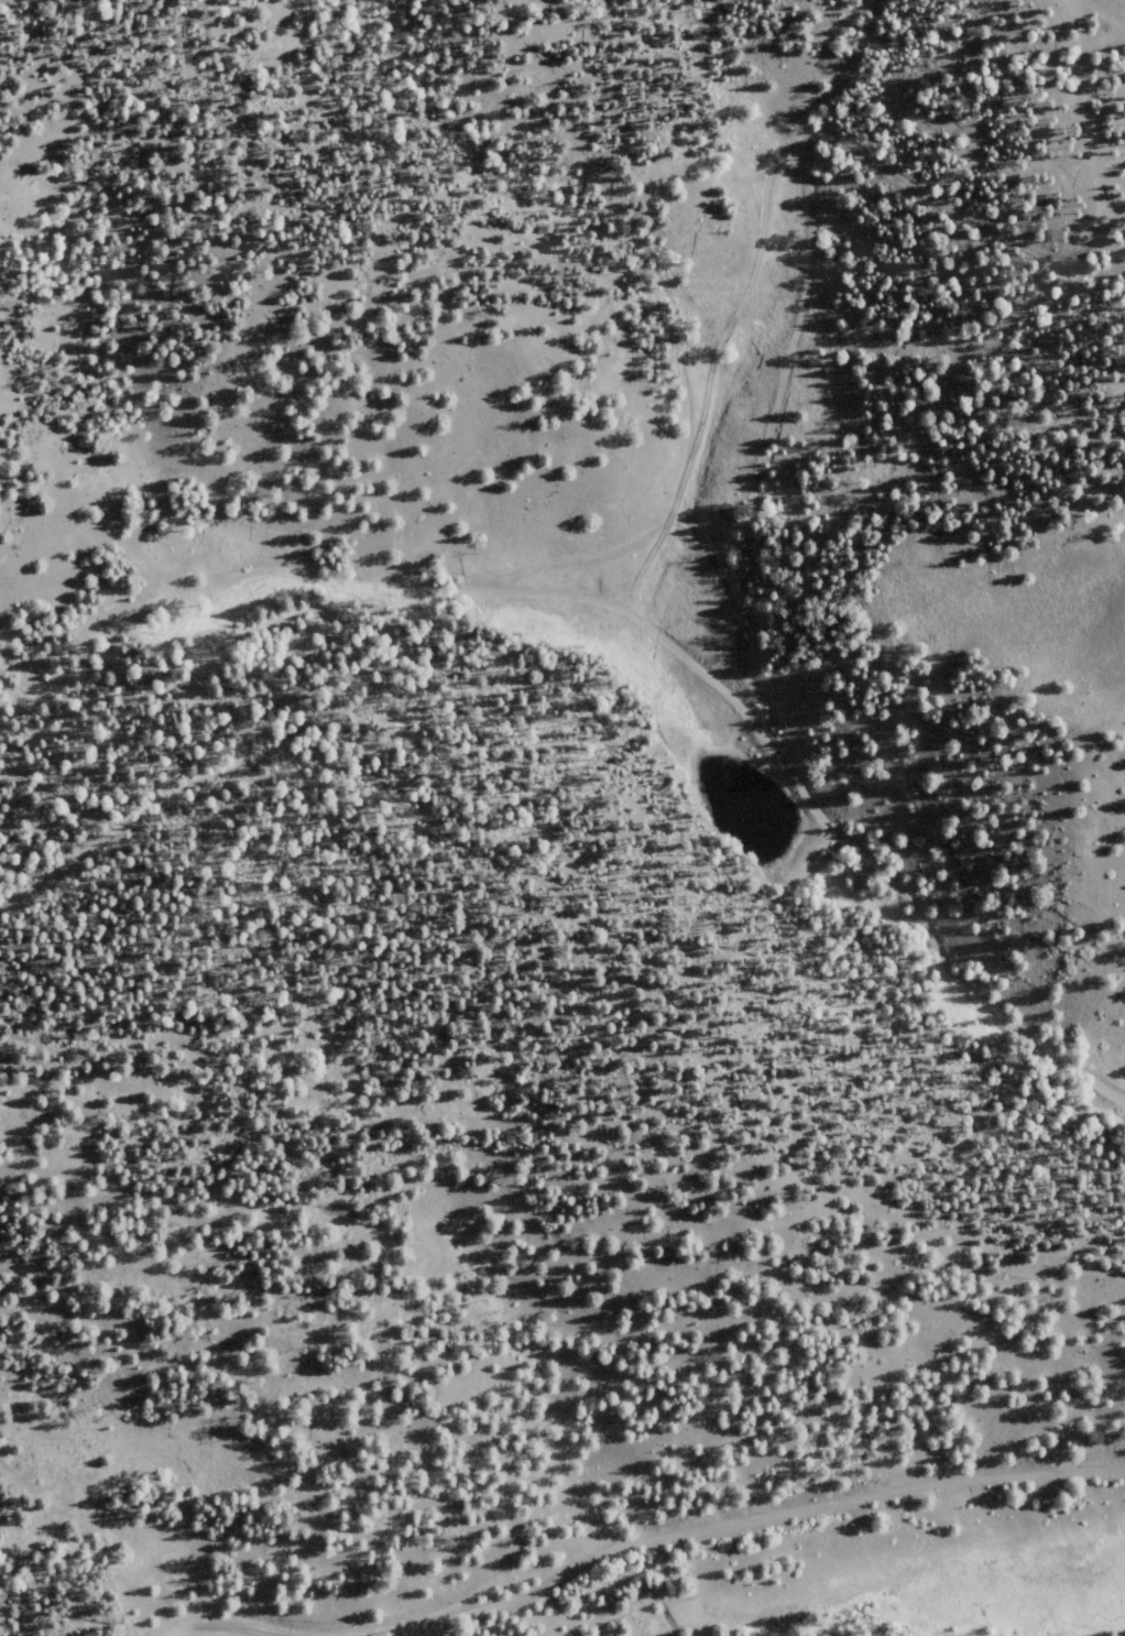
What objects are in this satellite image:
road: (632, 588)
road: (788, 1509)

